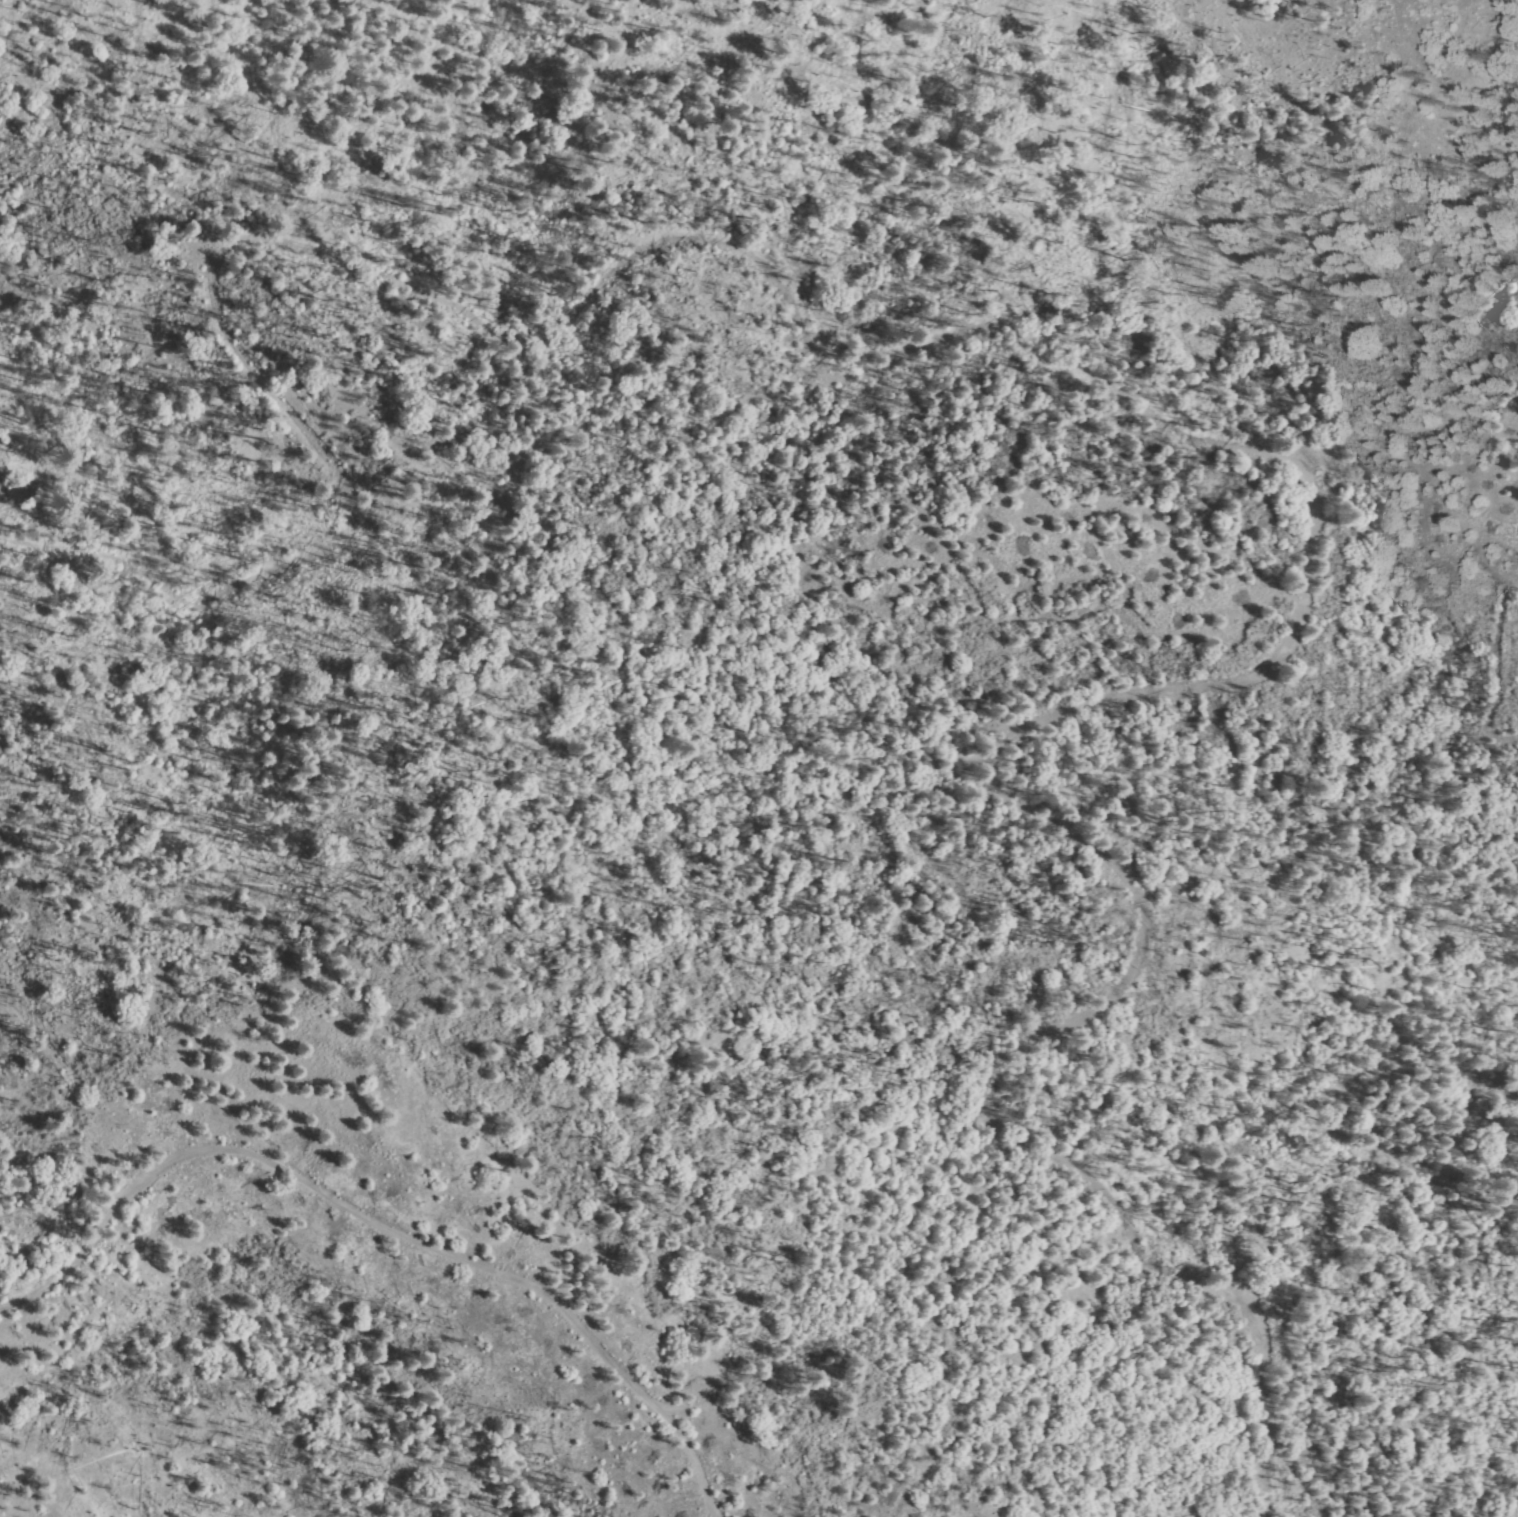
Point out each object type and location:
road: (1148, 406)
road: (1158, 943)
road: (107, 1224)
road: (509, 1280)

